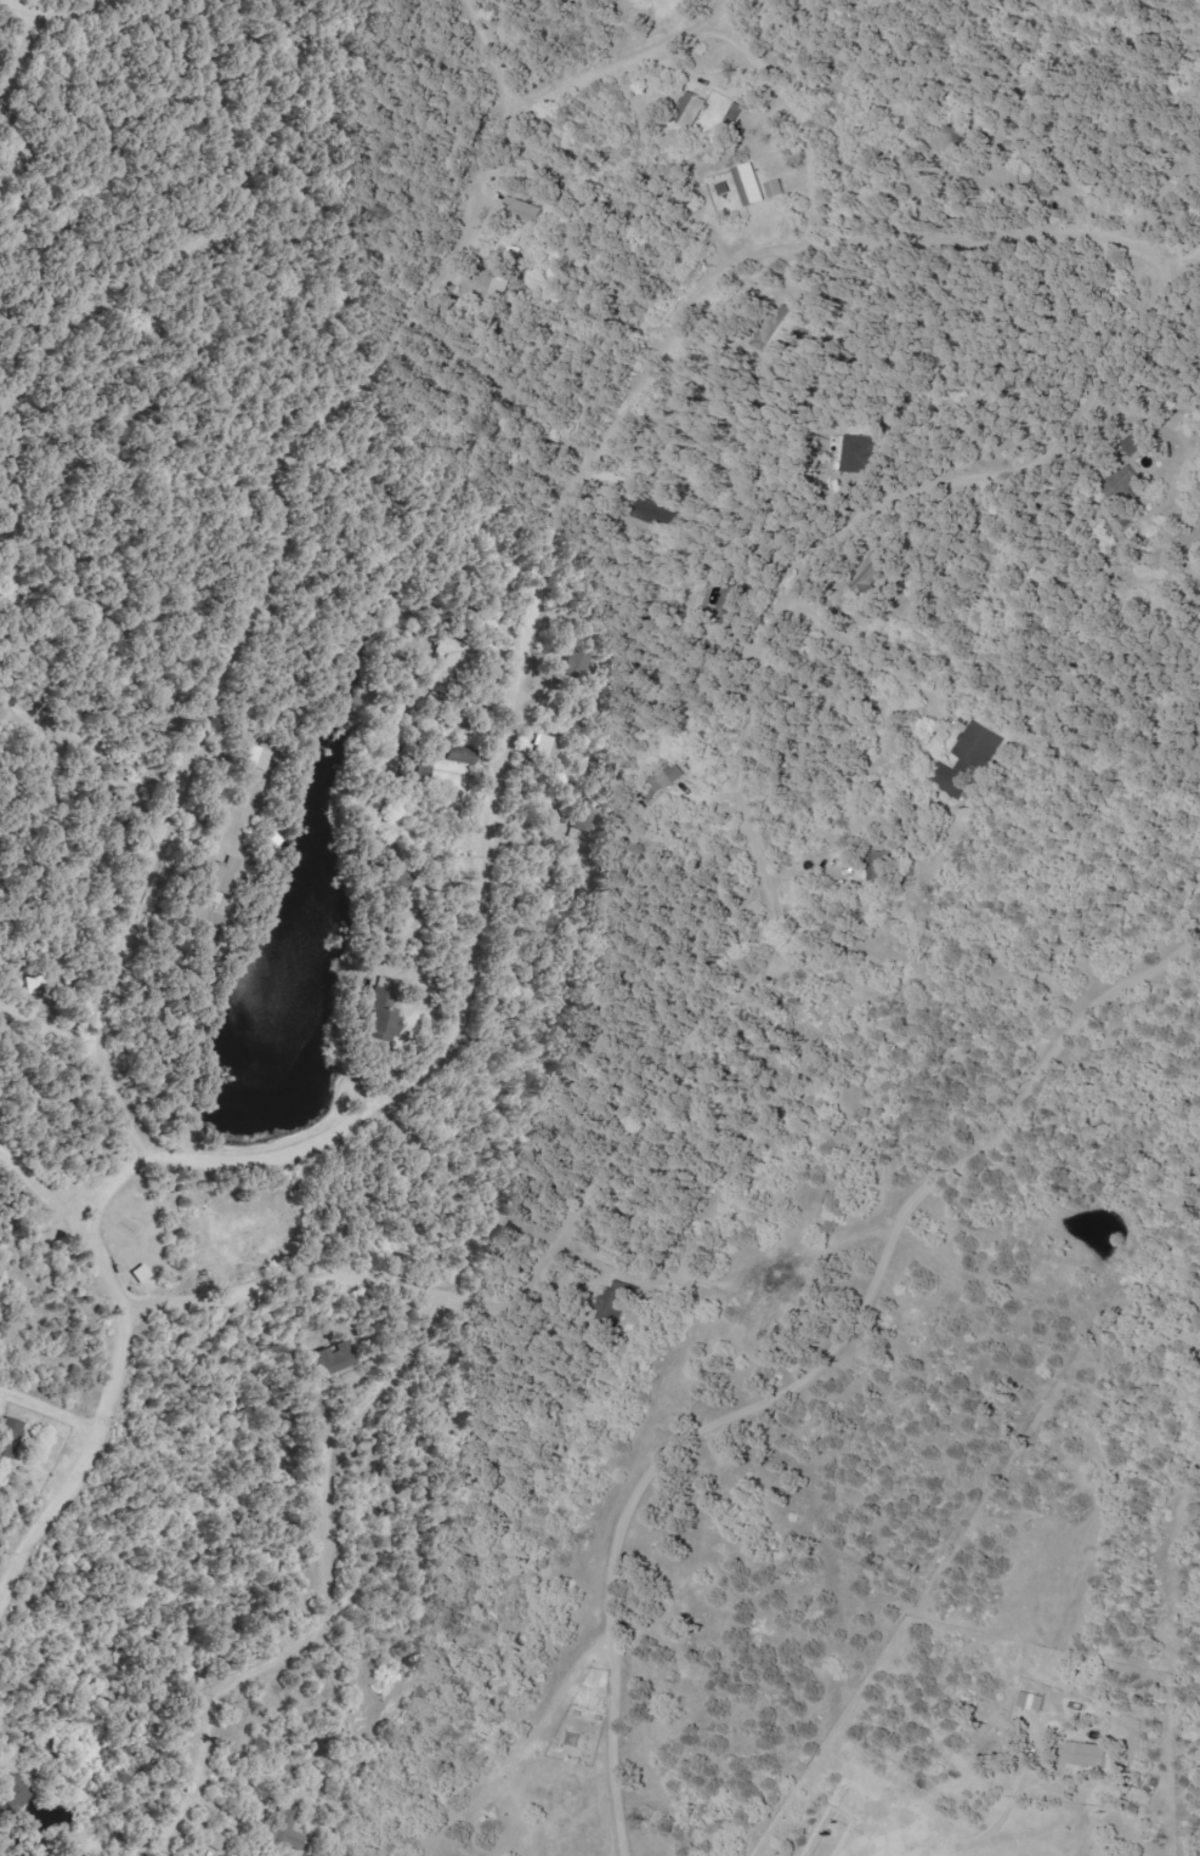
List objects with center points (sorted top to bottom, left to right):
road: (64, 2)
road: (21, 41)
road: (492, 46)
road: (622, 63)
road: (798, 108)
building: (692, 109)
building: (752, 186)
building: (777, 189)
building: (521, 211)
building: (503, 272)
road: (17, 374)
road: (36, 383)
road: (15, 528)
road: (542, 577)
road: (256, 594)
road: (876, 645)
road: (752, 742)
building: (547, 749)
building: (260, 757)
building: (967, 760)
building: (668, 780)
building: (223, 877)
building: (39, 985)
road: (53, 1009)
building: (383, 1015)
road: (39, 1183)
road: (108, 1184)
road: (282, 1273)
building: (341, 1358)
road: (52, 1404)
road: (108, 1414)
road: (328, 1586)
building: (1035, 1702)
road: (990, 1741)
building: (1089, 1755)
building: (288, 1830)

